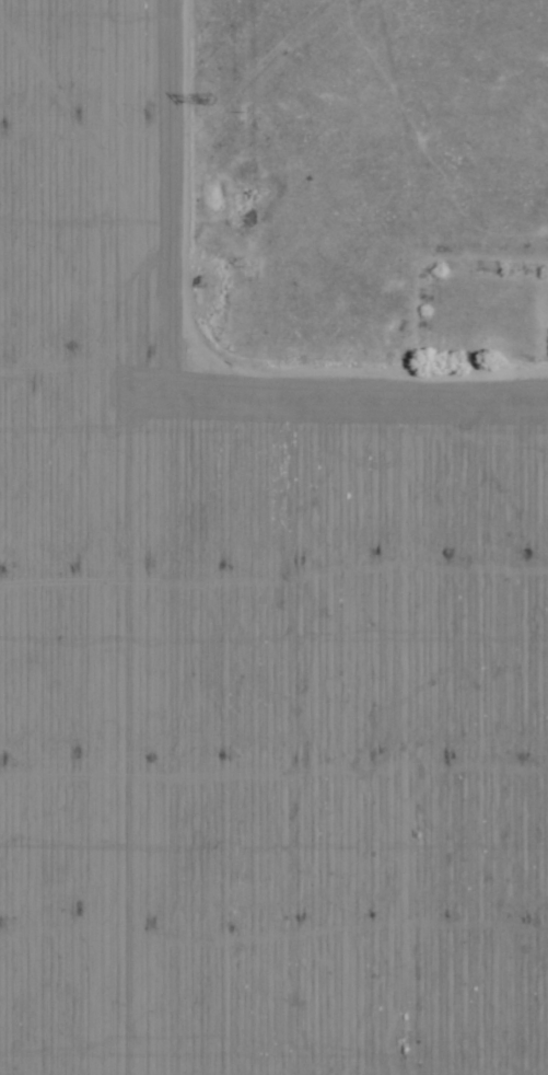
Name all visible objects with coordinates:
power tower: (217, 100)
road: (193, 316)
crop: (247, 644)

